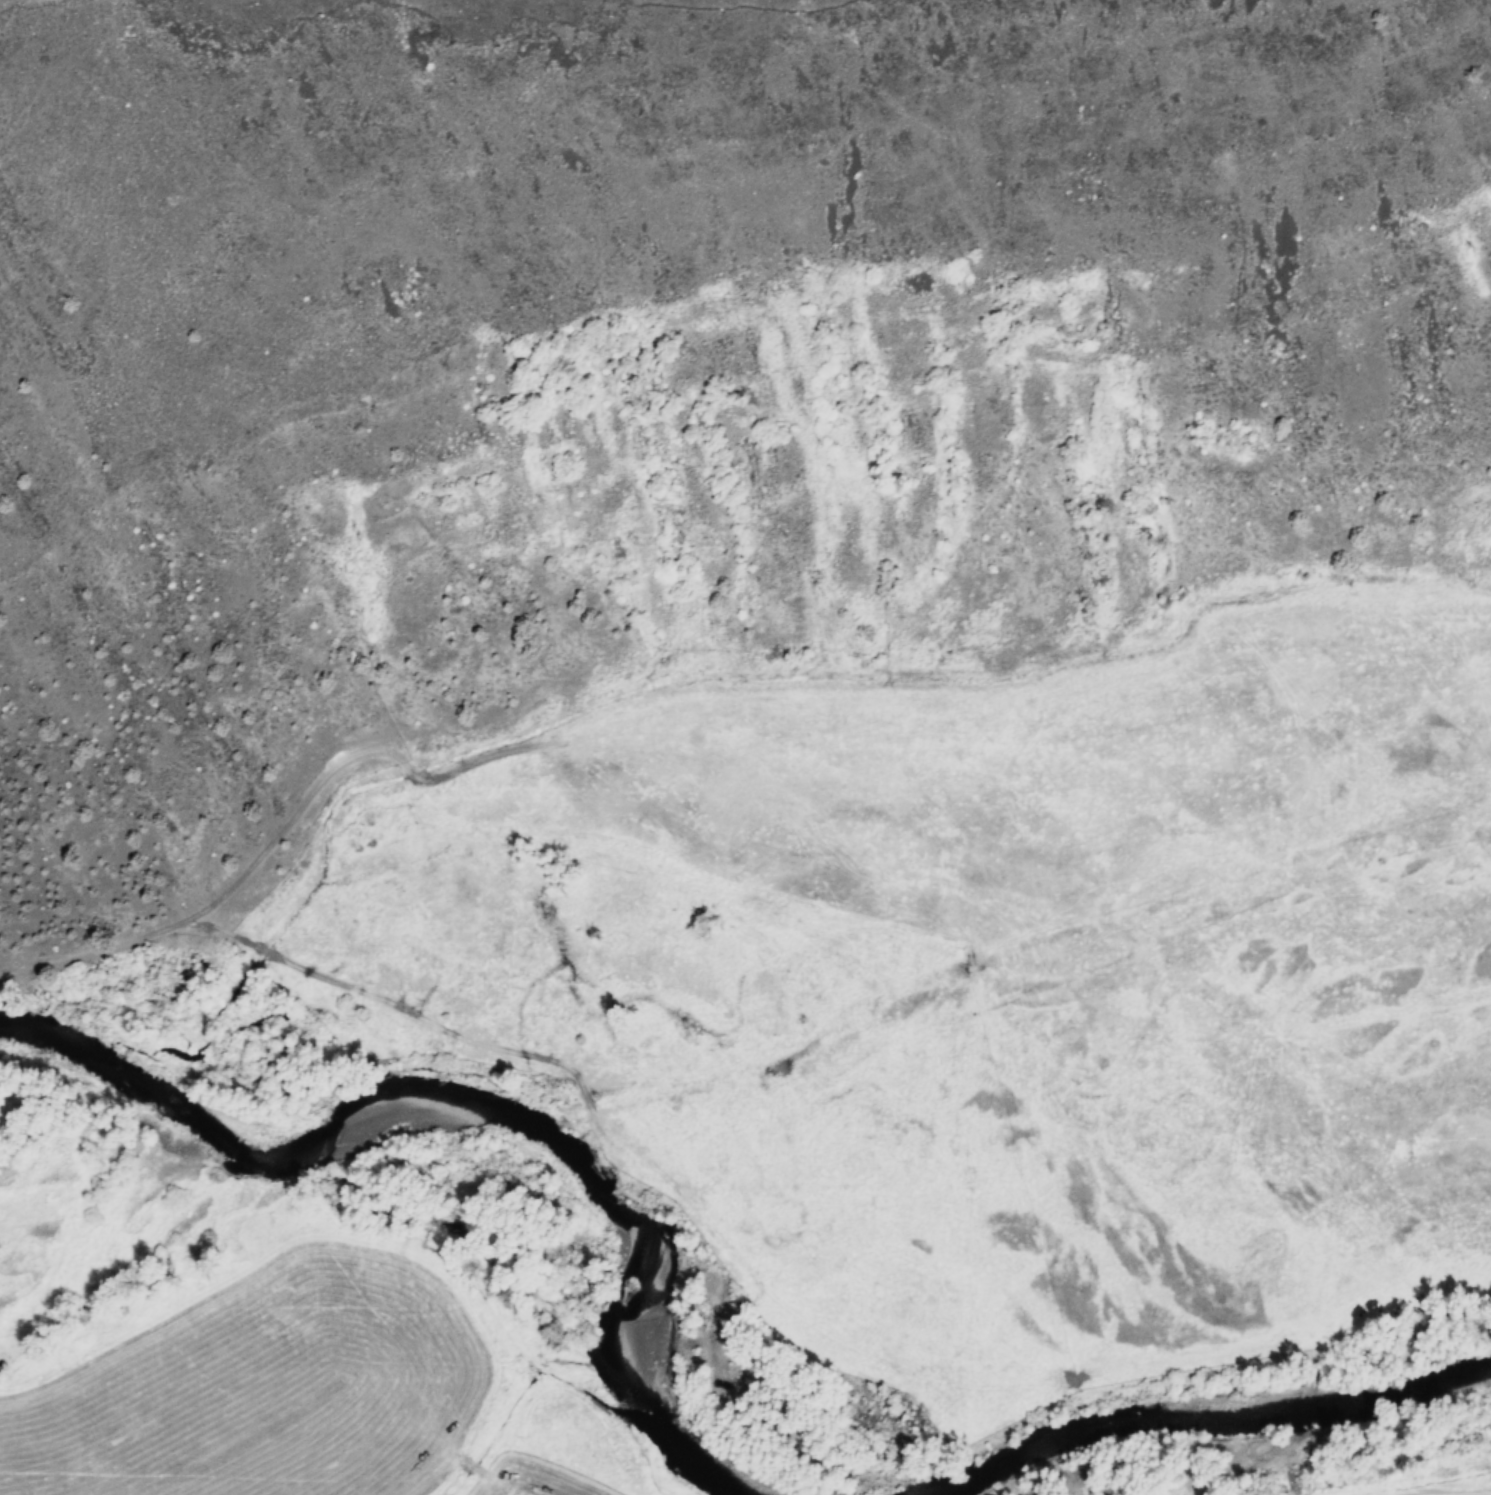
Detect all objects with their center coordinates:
river: (475, 1102)
river: (1204, 1416)

